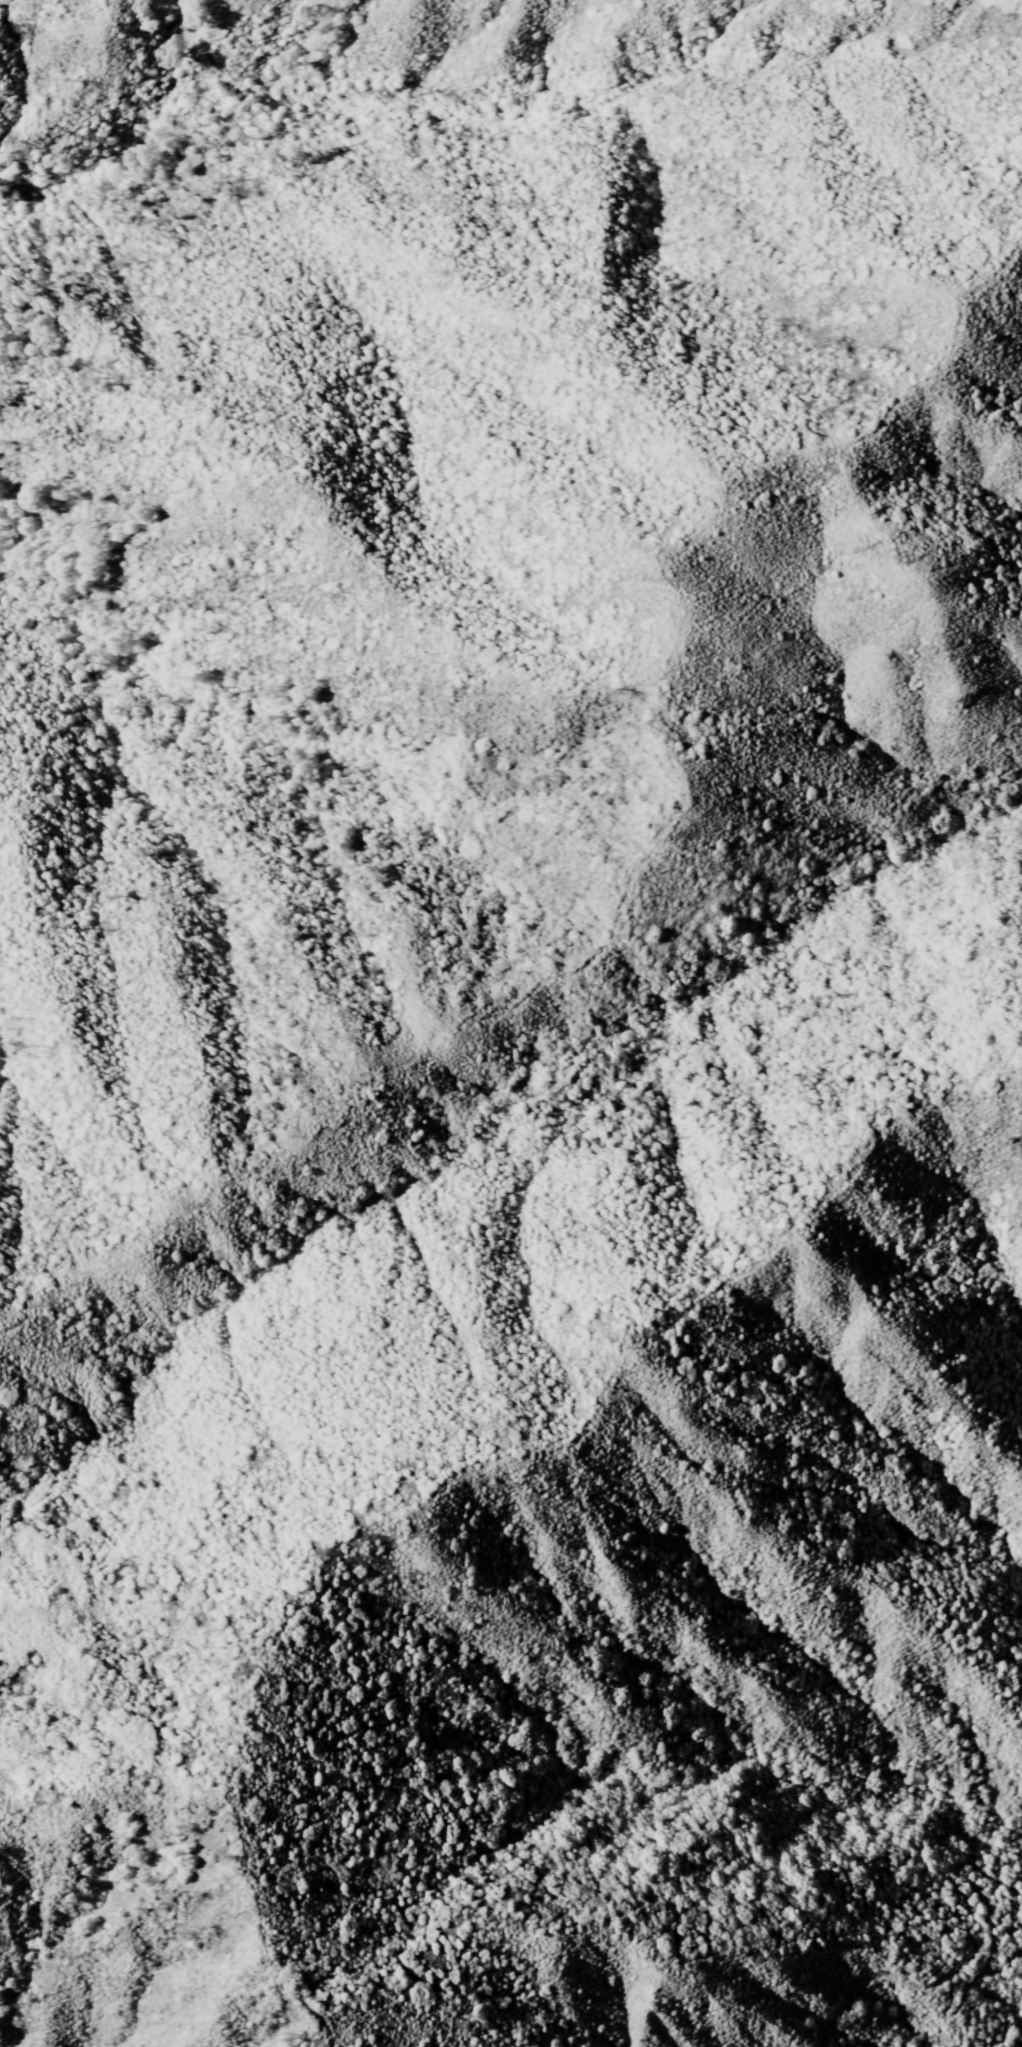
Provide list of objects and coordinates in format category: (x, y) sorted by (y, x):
road: (968, 2005)

